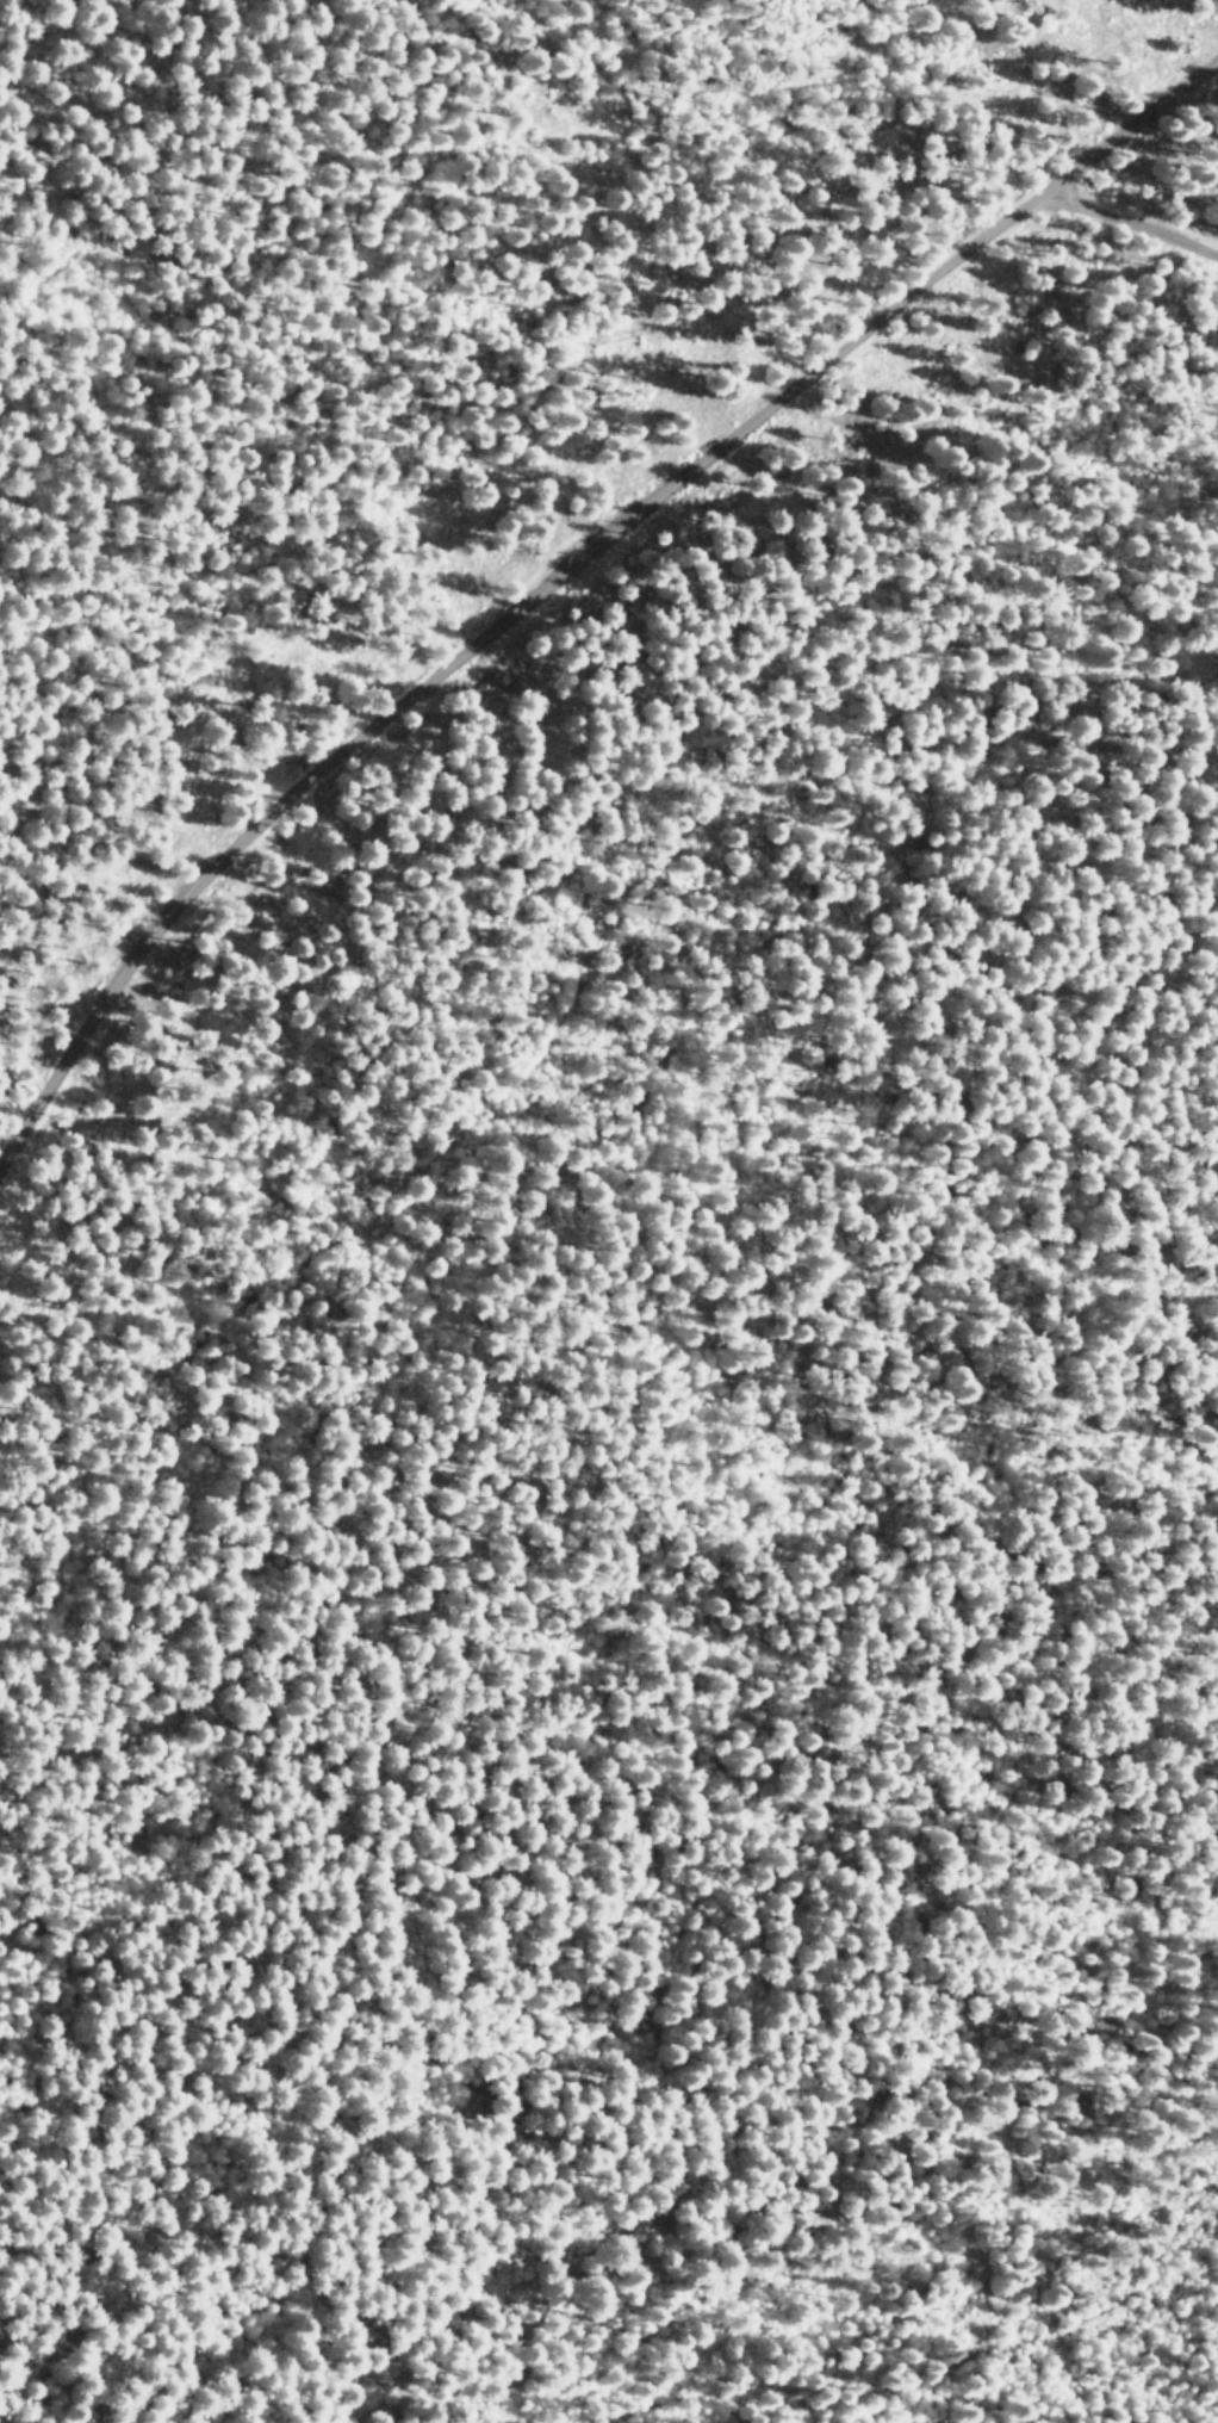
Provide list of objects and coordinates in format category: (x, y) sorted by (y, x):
road: (1131, 223)
road: (561, 574)
road: (590, 1011)

